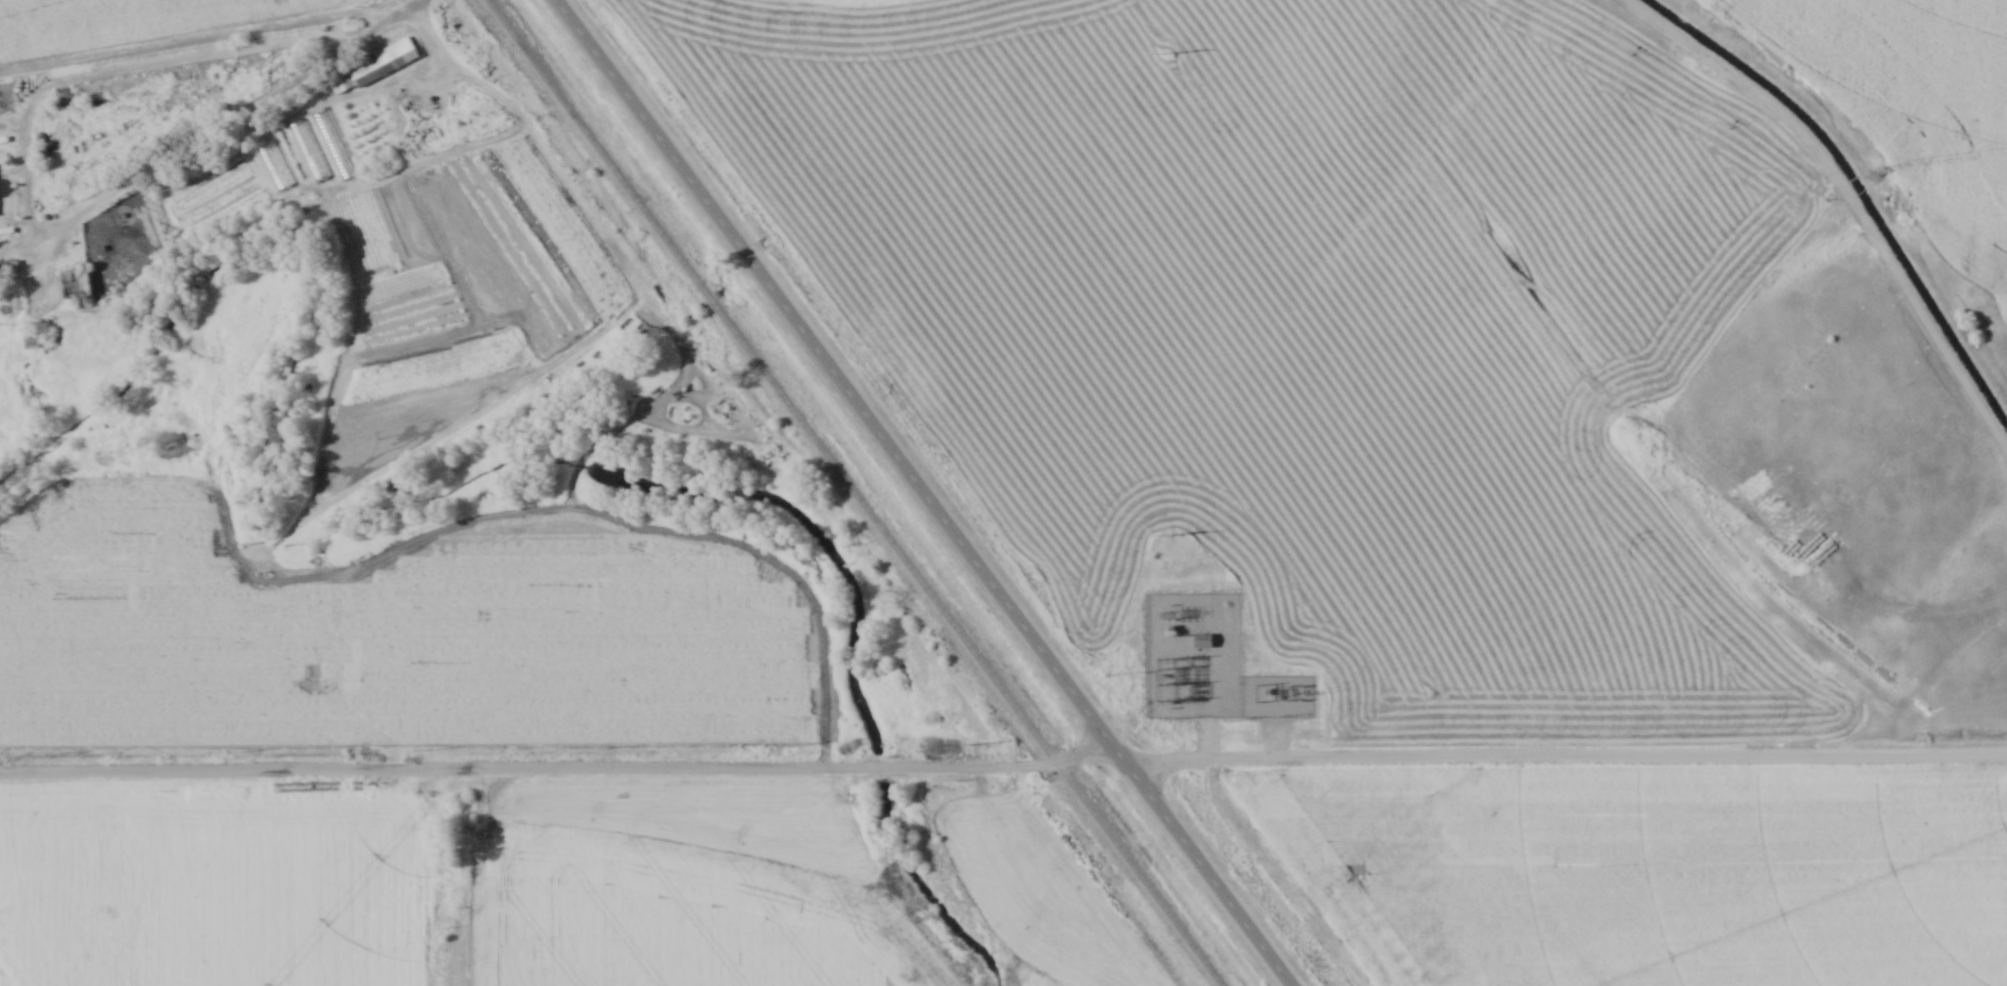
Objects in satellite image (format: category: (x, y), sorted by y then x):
road: (392, 18)
power tower: (1167, 54)
building: (372, 66)
building: (274, 166)
road: (24, 193)
building: (74, 285)
building: (1980, 325)
railway: (852, 492)
road: (915, 493)
power tower: (1171, 534)
power tower: (1172, 615)
building: (1203, 642)
power substation: (1211, 665)
road: (1222, 711)
road: (1003, 767)
building: (12, 880)
building: (107, 897)
building: (91, 960)
building: (55, 963)

